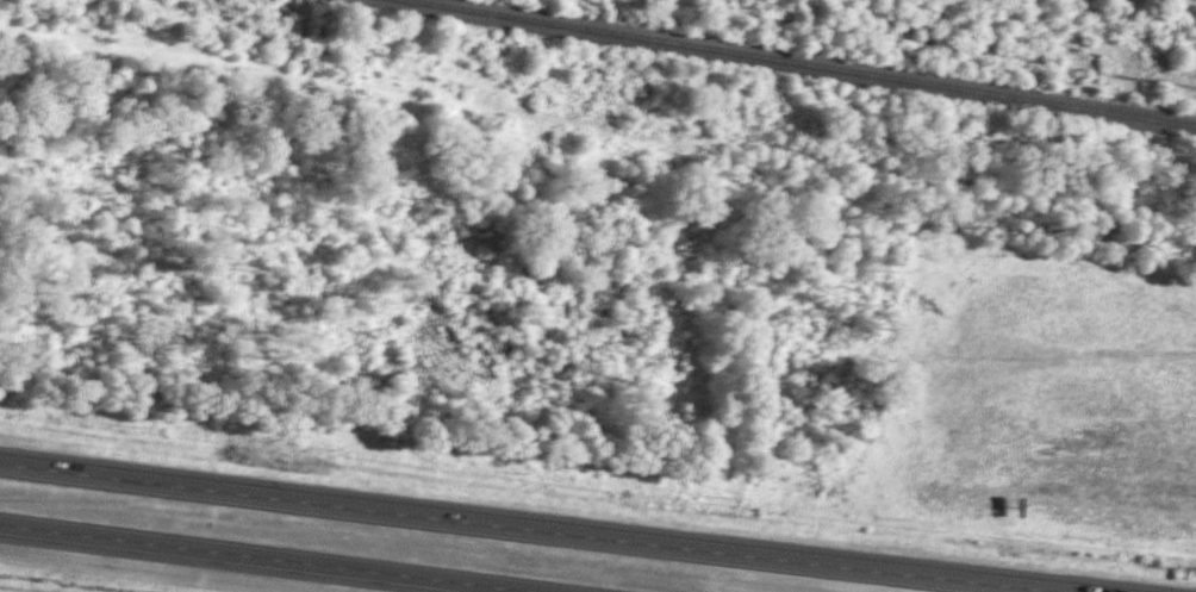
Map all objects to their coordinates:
railway: (771, 73)
railway: (598, 93)
road: (521, 530)
road: (262, 557)

